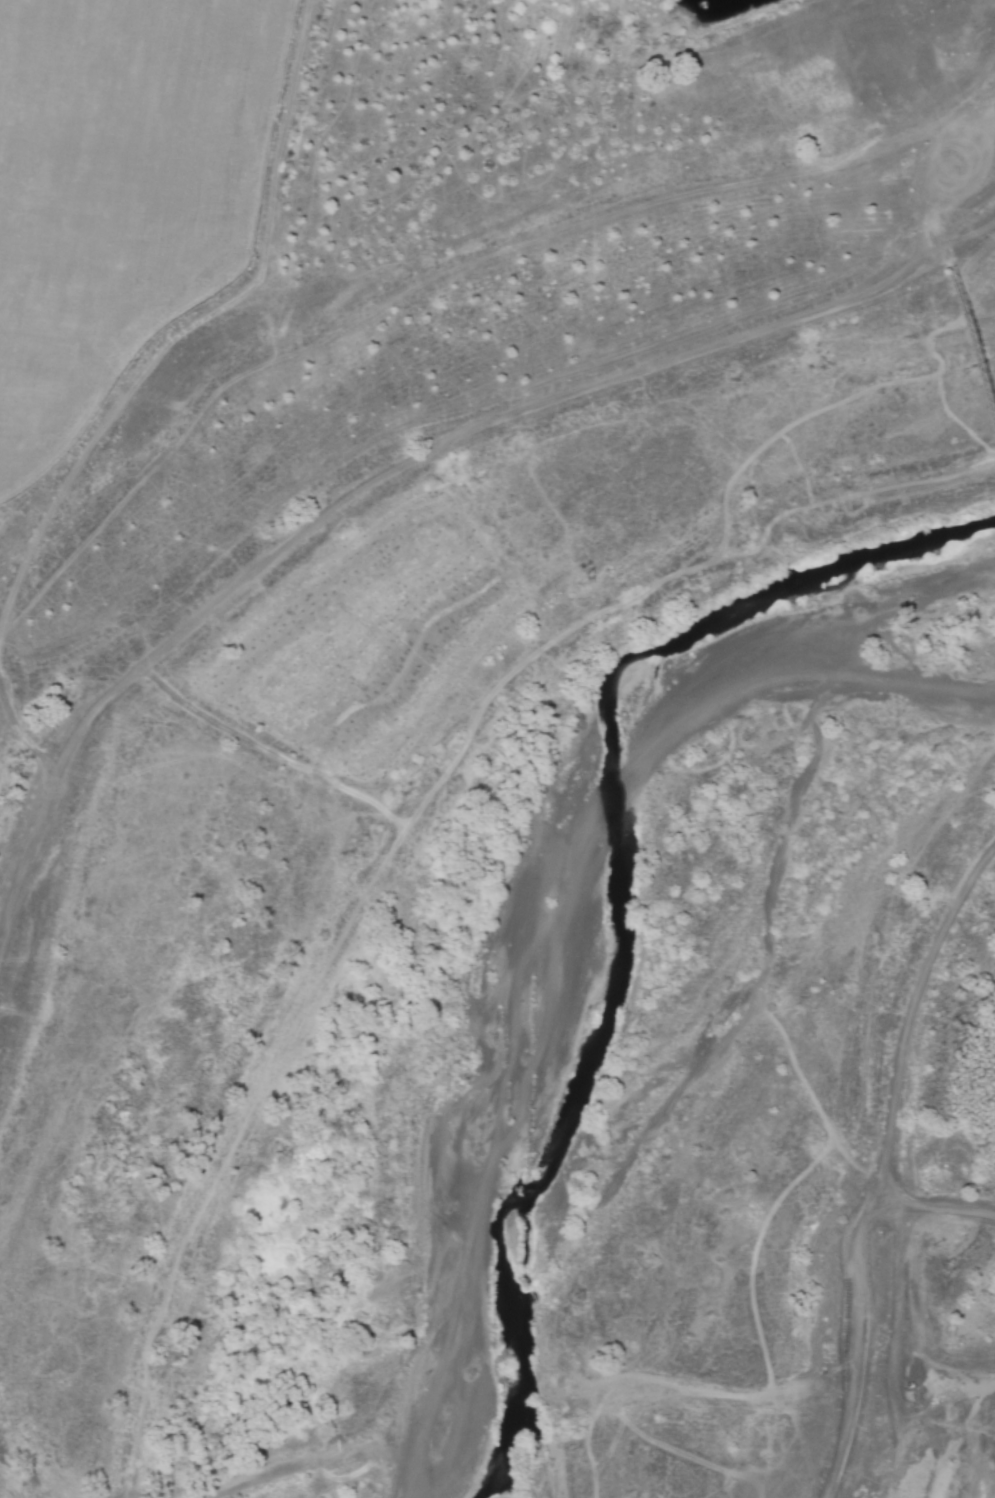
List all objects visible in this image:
river: (515, 915)
quarry: (955, 1411)

